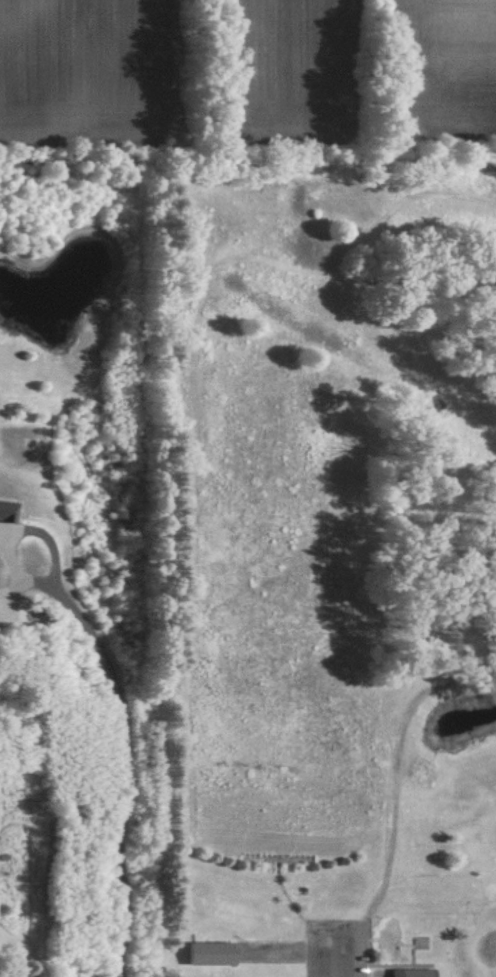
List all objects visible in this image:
park: (327, 563)
road: (122, 736)
parking lot: (333, 947)
building: (211, 952)
building: (412, 972)

